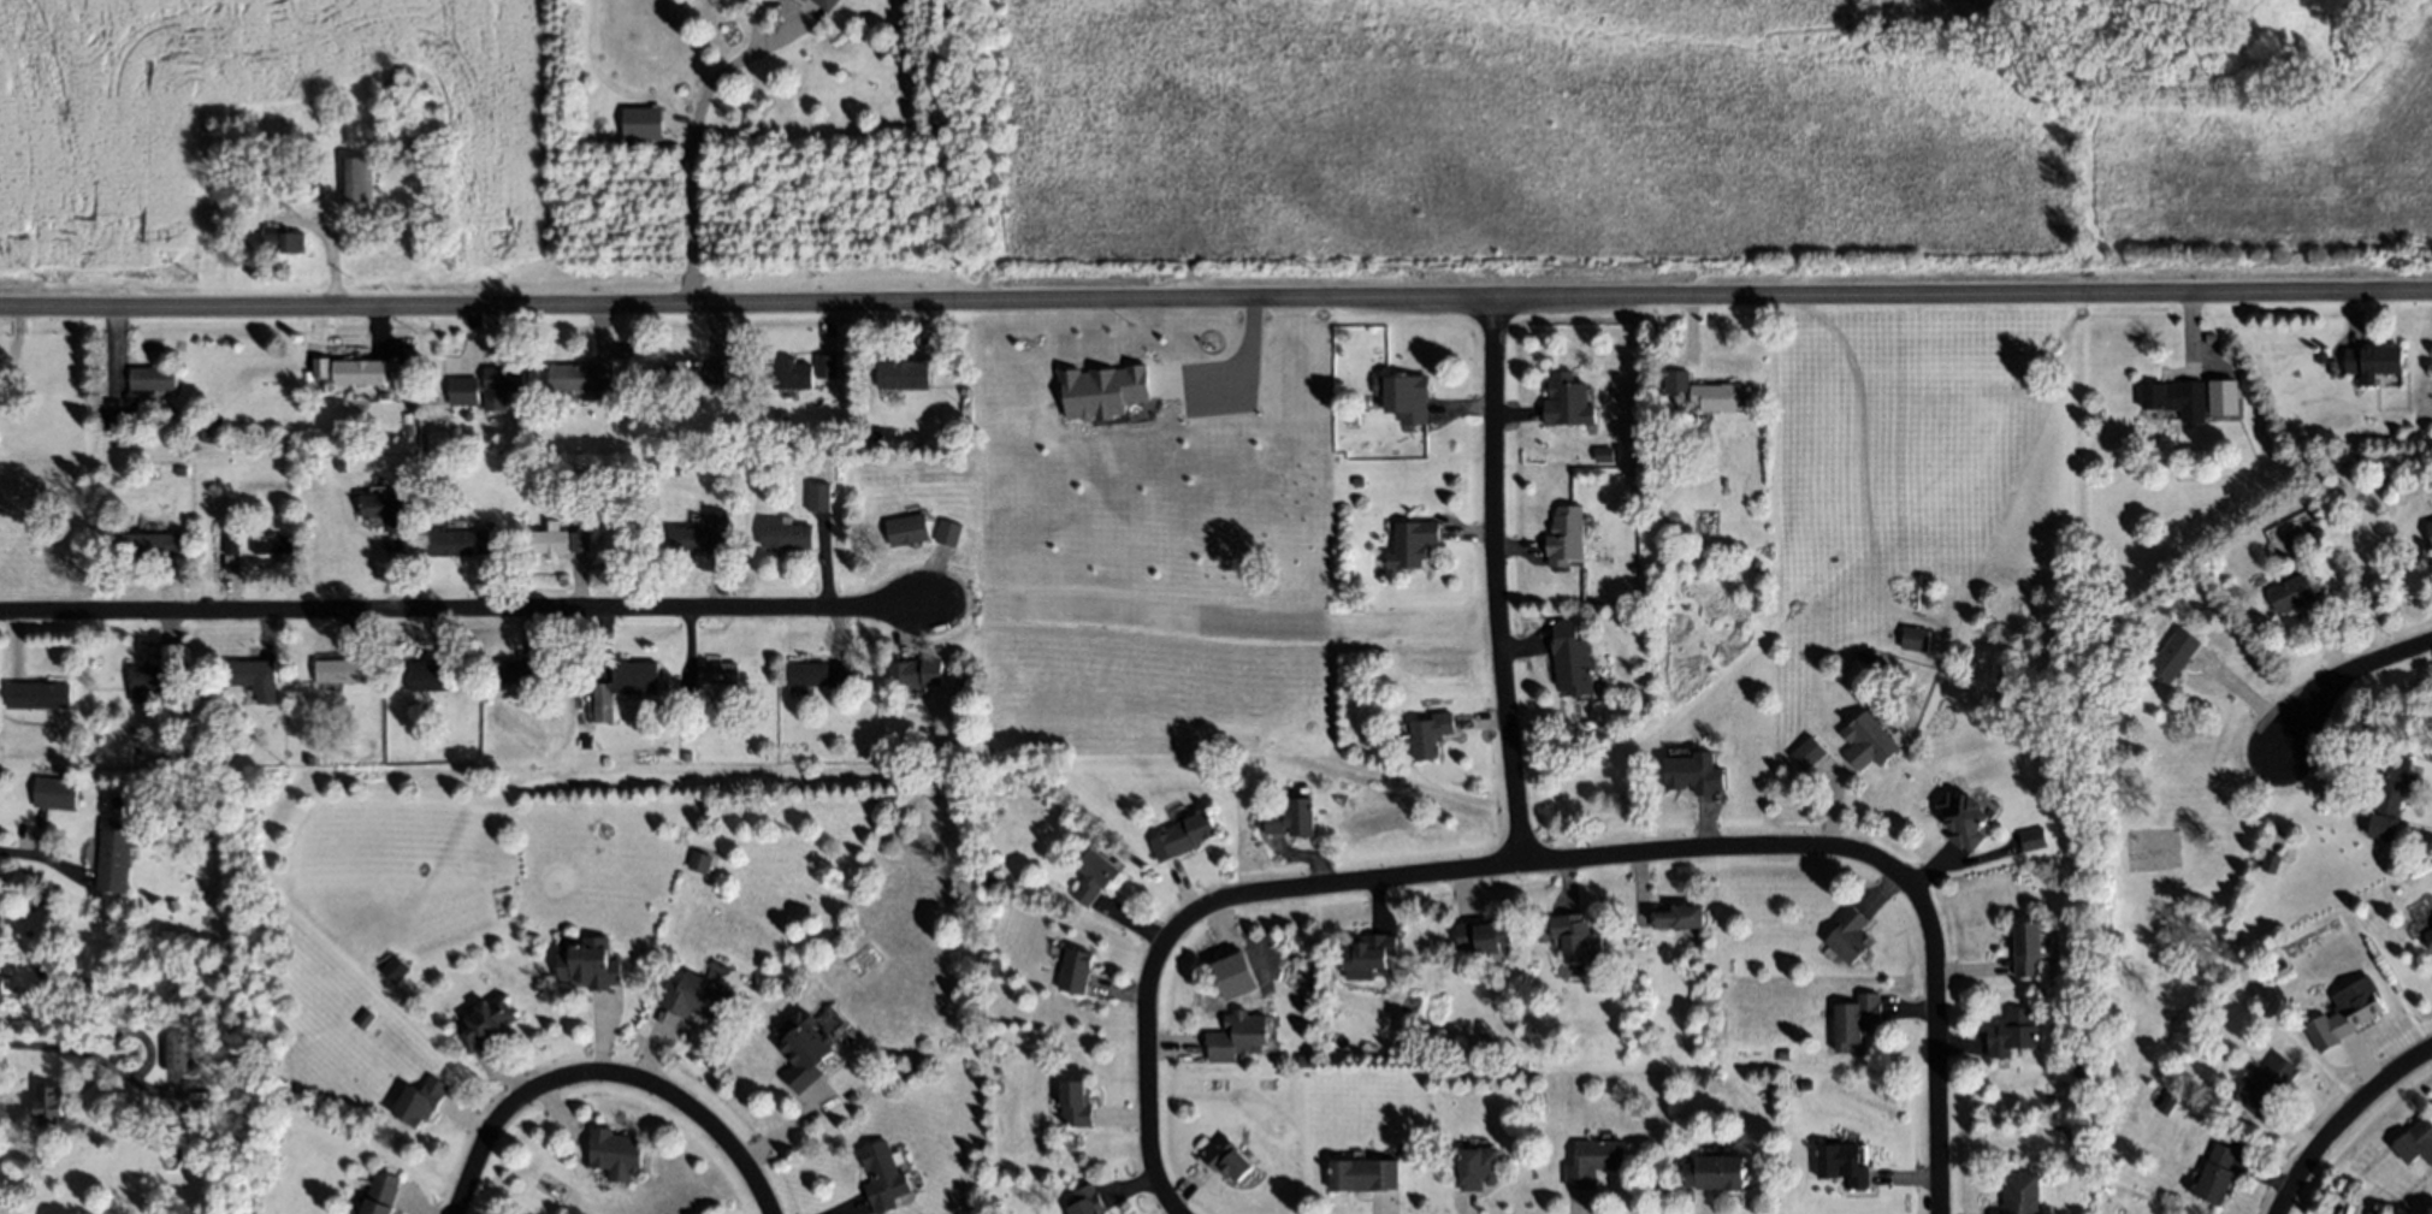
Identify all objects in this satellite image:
building: (826, 4)
building: (646, 120)
road: (694, 155)
building: (356, 177)
building: (303, 191)
building: (284, 239)
road: (1215, 300)
building: (2320, 355)
building: (2372, 357)
building: (826, 365)
building: (321, 368)
building: (357, 369)
building: (714, 372)
building: (792, 372)
road: (1244, 372)
building: (903, 374)
building: (679, 375)
building: (584, 378)
building: (1675, 379)
building: (1083, 386)
building: (489, 387)
building: (137, 395)
building: (1718, 396)
building: (2174, 396)
building: (1407, 397)
building: (2221, 398)
building: (1567, 401)
building: (1351, 418)
building: (218, 420)
building: (206, 428)
building: (516, 440)
building: (537, 444)
building: (1604, 454)
building: (181, 469)
building: (1356, 480)
building: (819, 496)
building: (389, 509)
building: (2430, 527)
building: (907, 531)
building: (948, 532)
building: (786, 533)
building: (1566, 534)
building: (702, 539)
building: (550, 540)
building: (580, 540)
building: (460, 541)
building: (232, 543)
building: (278, 543)
building: (1412, 543)
building: (153, 544)
building: (1755, 563)
building: (2209, 567)
road: (1496, 580)
building: (2290, 592)
road: (467, 609)
building: (1916, 639)
building: (2173, 655)
building: (1572, 658)
building: (338, 670)
building: (513, 671)
building: (916, 671)
building: (720, 673)
building: (807, 673)
building: (427, 675)
building: (840, 675)
building: (858, 675)
building: (155, 677)
building: (256, 677)
road: (2344, 677)
building: (623, 686)
building: (39, 694)
building: (702, 709)
building: (1430, 734)
building: (588, 740)
building: (1869, 740)
building: (229, 746)
building: (181, 752)
building: (1807, 753)
building: (688, 757)
building: (312, 759)
building: (82, 760)
building: (1694, 772)
building: (57, 793)
building: (2389, 796)
building: (1292, 818)
building: (1963, 818)
building: (1182, 835)
building: (2032, 840)
building: (114, 855)
road: (42, 859)
building: (700, 860)
road: (1558, 860)
building: (2270, 861)
building: (1093, 875)
building: (993, 880)
building: (173, 905)
building: (1680, 916)
building: (1848, 935)
building: (1484, 936)
building: (1575, 936)
building: (2428, 936)
building: (2028, 948)
building: (1371, 949)
building: (590, 963)
building: (992, 967)
building: (396, 969)
building: (2280, 969)
building: (1075, 970)
building: (1233, 976)
building: (1, 983)
building: (698, 997)
building: (1302, 1000)
building: (2345, 1014)
building: (1856, 1015)
building: (365, 1018)
building: (489, 1021)
building: (2012, 1032)
building: (1237, 1035)
road: (35, 1046)
building: (804, 1048)
building: (177, 1049)
road: (150, 1052)
building: (1781, 1053)
building: (2082, 1071)
road: (606, 1073)
building: (2267, 1086)
building: (853, 1096)
building: (420, 1100)
building: (53, 1105)
building: (1075, 1106)
road: (2344, 1121)
building: (1071, 1141)
building: (2415, 1142)
building: (615, 1153)
building: (1227, 1159)
building: (1593, 1161)
building: (1841, 1163)
building: (1478, 1166)
building: (1712, 1172)
building: (1363, 1173)
building: (2217, 1173)
building: (883, 1177)
building: (381, 1194)
building: (2022, 1195)
building: (1087, 1202)
building: (2371, 1212)

